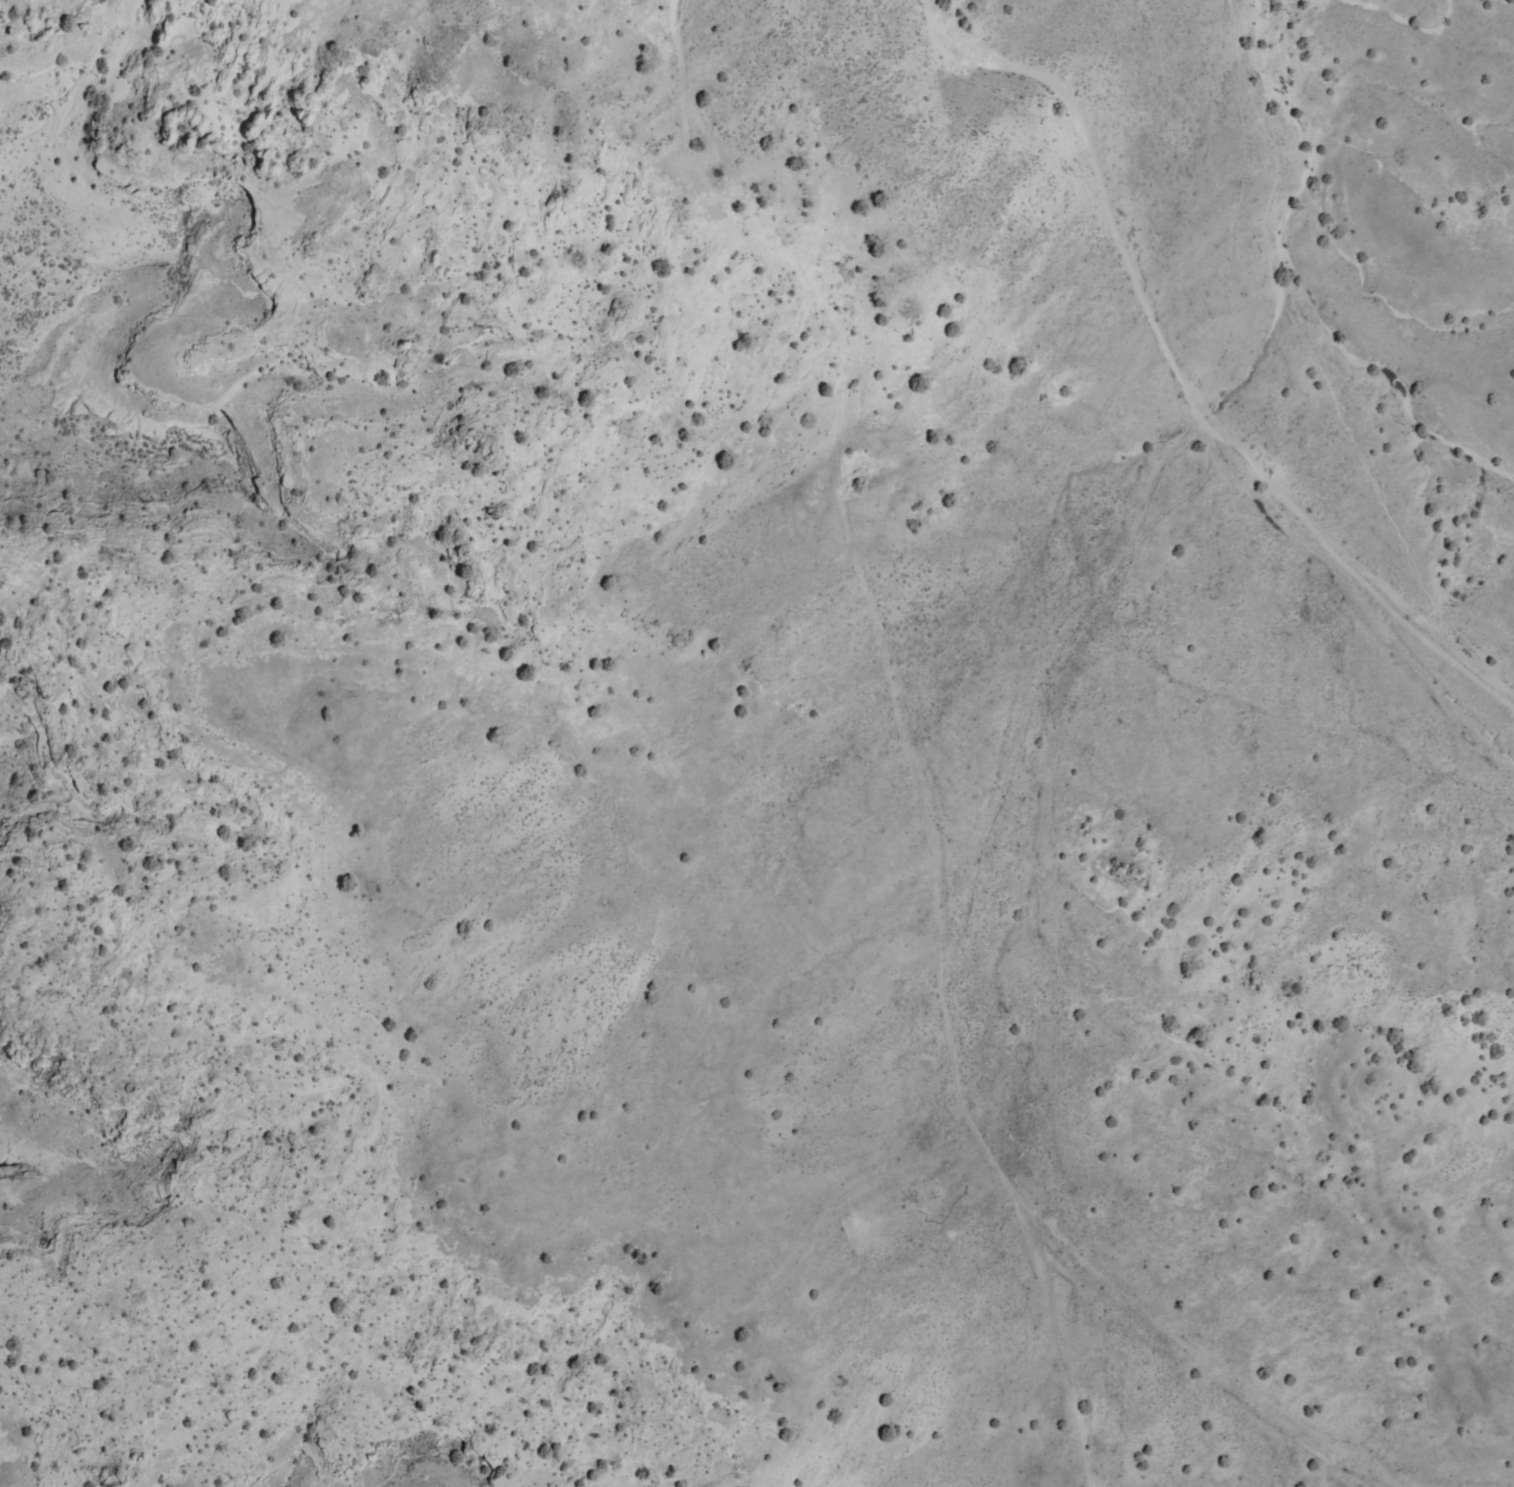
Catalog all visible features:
road: (1068, 91)
road: (1211, 426)

